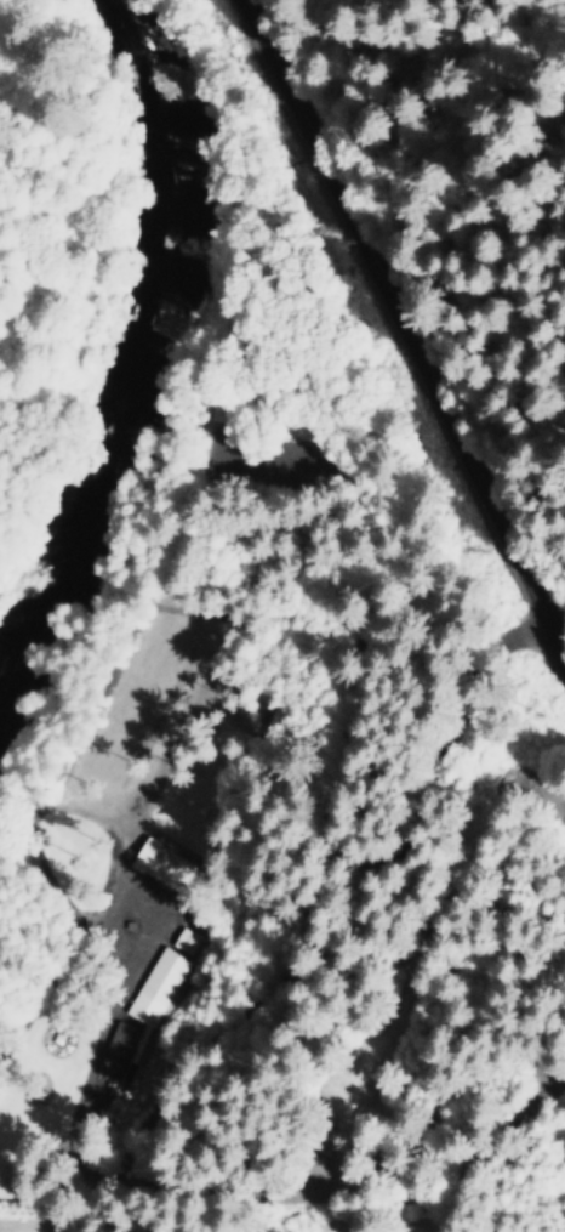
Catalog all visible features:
road: (401, 330)
river: (154, 337)
parking lot: (279, 432)
road: (355, 731)
building: (158, 863)
building: (154, 987)
building: (114, 1051)
road: (527, 1174)

